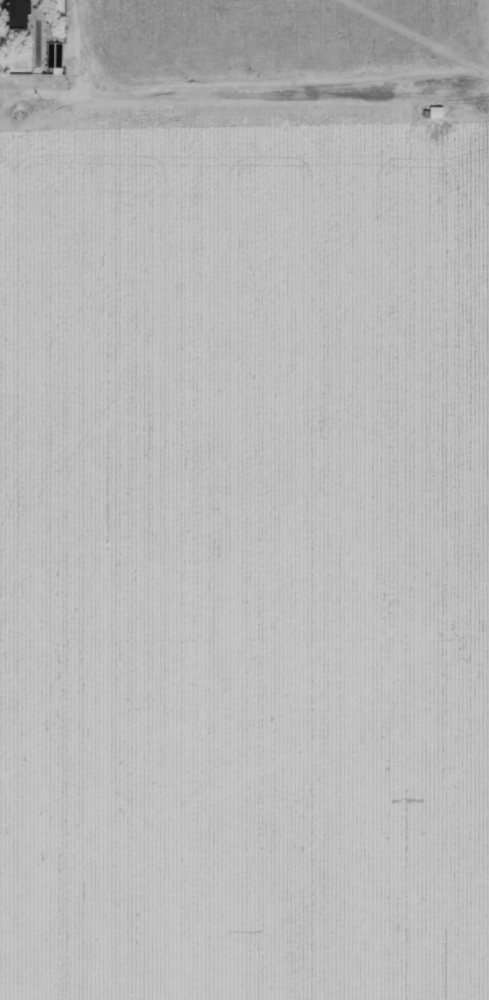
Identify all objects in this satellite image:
building: (17, 14)
road: (73, 79)
road: (277, 89)
road: (2, 94)

